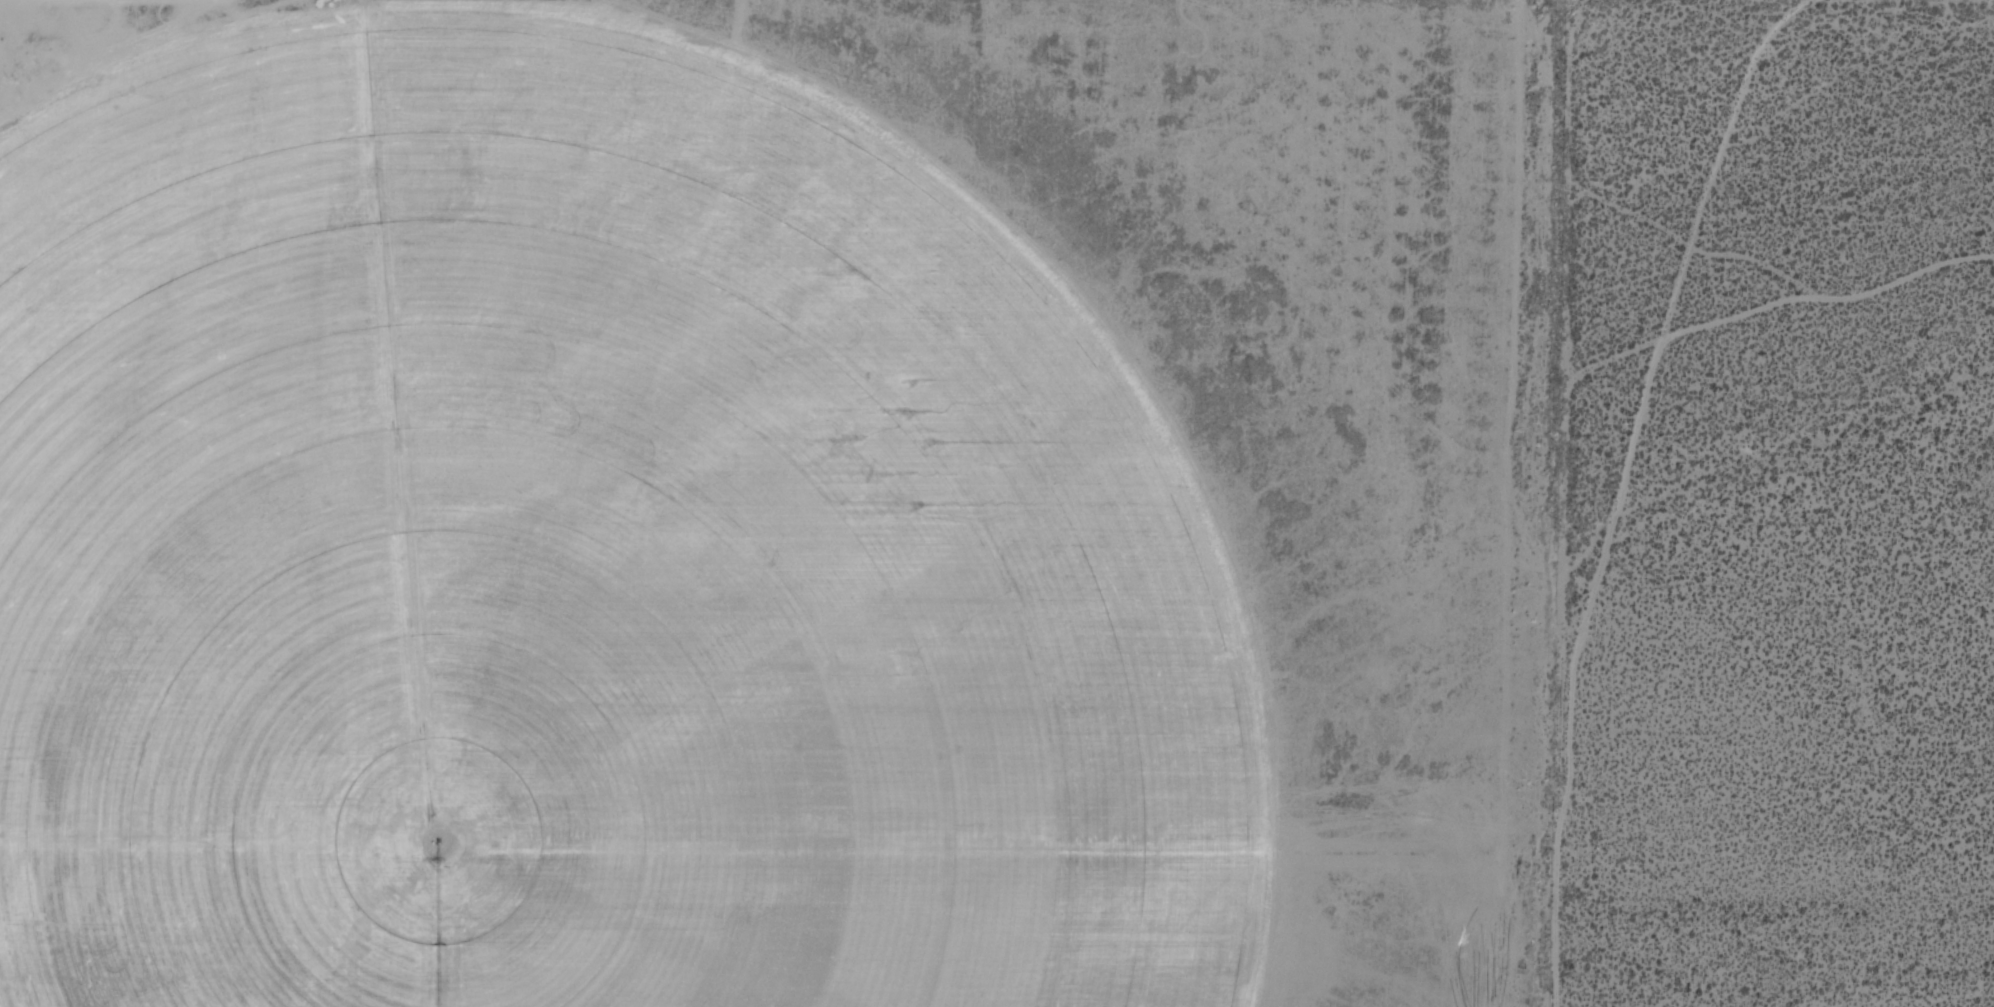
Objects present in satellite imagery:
road: (1991, 0)
road: (152, 1)
road: (1671, 314)
road: (1137, 369)
road: (1561, 475)
crop: (710, 551)

